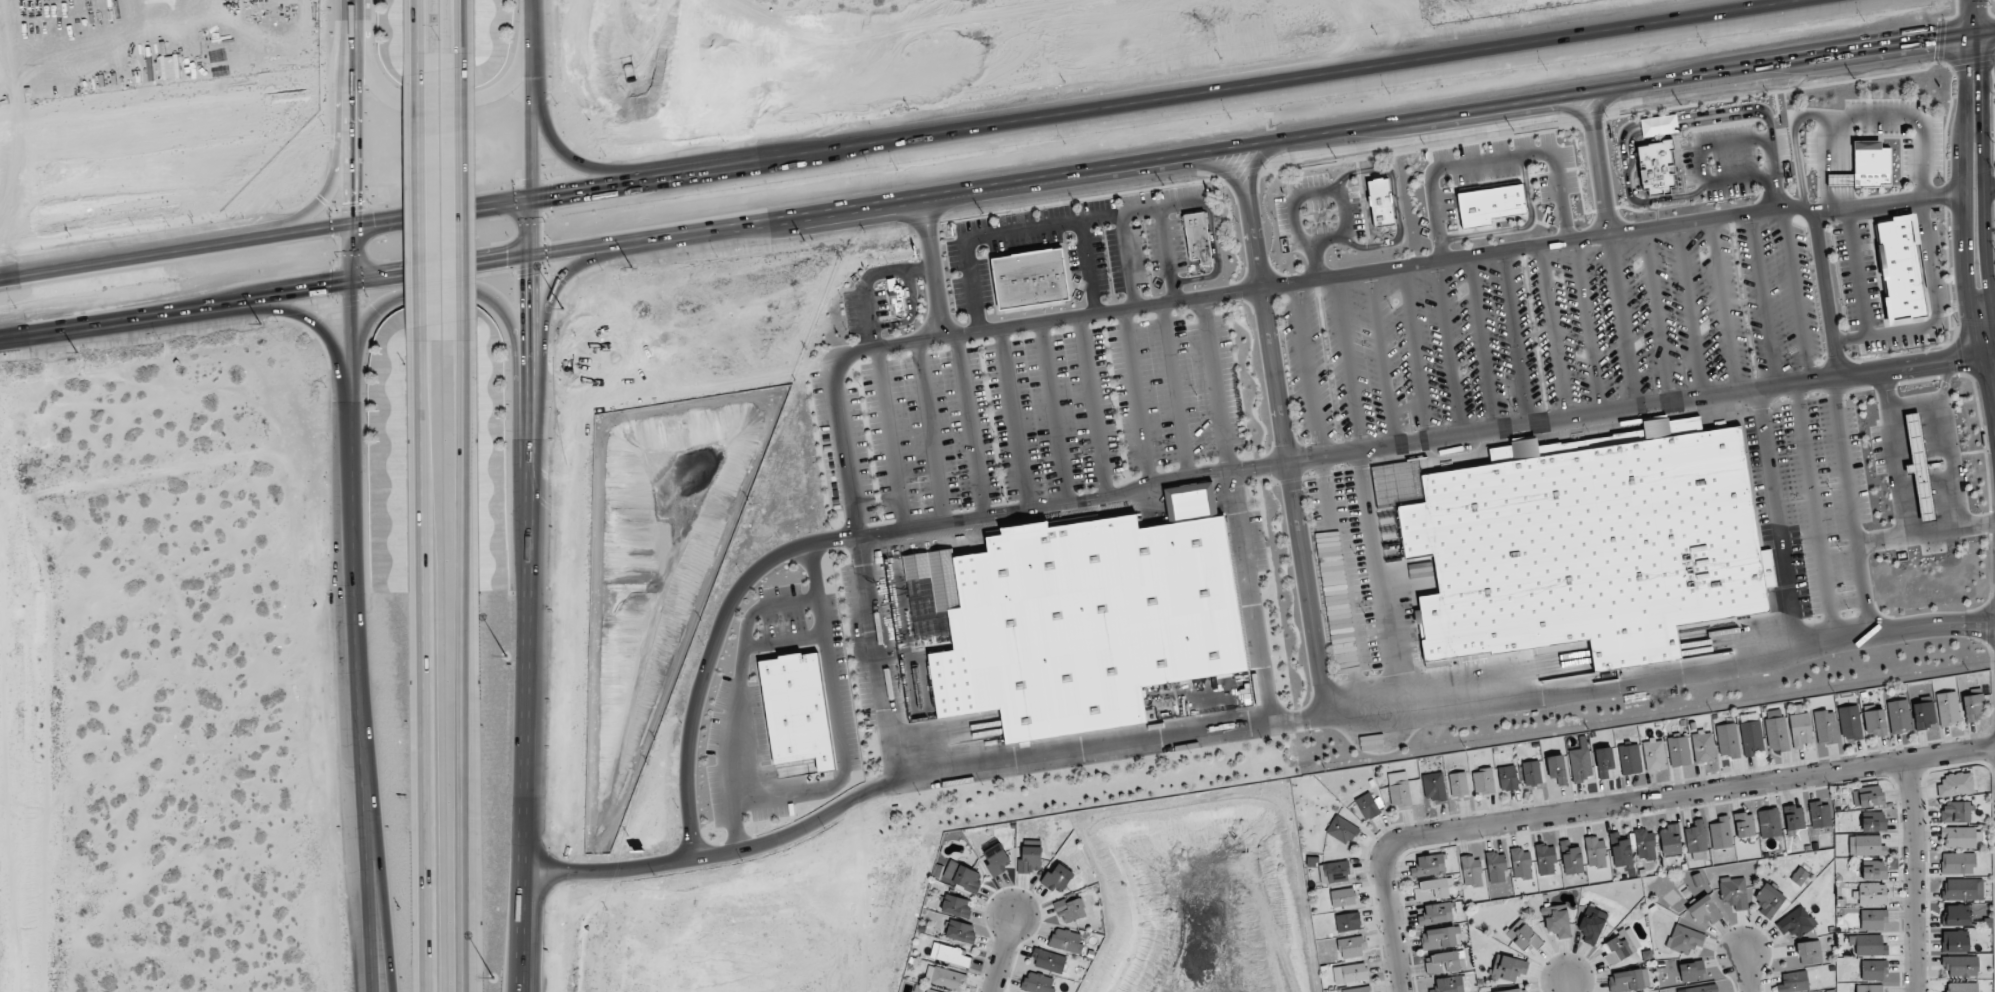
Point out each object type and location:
road: (1974, 16)
road: (417, 28)
road: (460, 28)
road: (1985, 31)
traffic signals: (1929, 41)
traffic signals: (1974, 73)
road: (1284, 81)
road: (536, 99)
road: (451, 108)
road: (349, 113)
road: (1852, 117)
road: (1370, 130)
road: (1834, 142)
road: (1491, 160)
road: (579, 161)
road: (1599, 165)
building: (1861, 168)
building: (1656, 169)
road: (707, 171)
road: (1835, 189)
road: (332, 190)
road: (1984, 193)
traffic signals: (553, 196)
traffic signals: (353, 199)
road: (462, 200)
road: (418, 201)
road: (1395, 201)
building: (1378, 203)
building: (1491, 204)
road: (398, 219)
road: (1973, 220)
traffic signals: (378, 223)
road: (1036, 229)
building: (1194, 238)
road: (1301, 239)
road: (69, 249)
road: (1215, 254)
road: (1169, 255)
road: (1318, 261)
road: (1128, 262)
road: (508, 263)
traffic signals: (500, 265)
road: (1089, 268)
road: (1402, 268)
building: (1899, 269)
road: (932, 270)
road: (1859, 273)
traffic signals: (531, 279)
building: (1026, 279)
traffic signals: (324, 292)
road: (1826, 294)
road: (1795, 295)
road: (1763, 300)
road: (547, 304)
road: (1723, 307)
road: (442, 309)
road: (1691, 312)
road: (1935, 313)
road: (1656, 318)
road: (126, 320)
road: (312, 321)
road: (1622, 323)
road: (1590, 328)
road: (1552, 334)
road: (1513, 340)
road: (1482, 345)
road: (1447, 351)
road: (1416, 356)
road: (1384, 361)
road: (1350, 365)
road: (1215, 387)
road: (1175, 394)
road: (1136, 400)
road: (1915, 404)
road: (1091, 407)
road: (1054, 413)
road: (1014, 419)
road: (969, 426)
road: (929, 433)
road: (1284, 433)
road: (889, 439)
road: (1948, 443)
road: (1422, 445)
road: (846, 450)
road: (351, 452)
road: (1895, 453)
road: (1328, 500)
road: (1853, 505)
road: (1815, 512)
road: (1778, 520)
road: (1927, 533)
building: (1586, 544)
road: (1379, 586)
building: (1770, 591)
road: (533, 593)
road: (1248, 600)
building: (1085, 620)
road: (783, 642)
road: (708, 654)
road: (466, 668)
road: (422, 669)
road: (741, 672)
building: (1973, 707)
building: (1948, 708)
road: (1449, 709)
building: (797, 713)
building: (1923, 715)
building: (1899, 716)
building: (1850, 722)
building: (1875, 723)
building: (1800, 727)
building: (1825, 727)
building: (1777, 735)
building: (1751, 737)
building: (1728, 740)
road: (839, 743)
building: (1703, 746)
building: (1678, 751)
building: (1654, 755)
building: (1629, 759)
building: (1605, 763)
building: (1580, 764)
building: (1556, 769)
building: (1531, 773)
building: (1508, 778)
building: (1483, 781)
building: (1458, 784)
building: (1955, 784)
building: (1434, 787)
building: (1399, 789)
building: (1870, 796)
road: (1619, 803)
building: (1367, 806)
road: (835, 808)
building: (1955, 812)
building: (1819, 814)
building: (1794, 817)
building: (1874, 822)
building: (1769, 823)
building: (1744, 824)
building: (1342, 830)
building: (1721, 832)
road: (361, 835)
road: (375, 835)
building: (1696, 837)
building: (1958, 837)
building: (1669, 839)
building: (1645, 844)
building: (1866, 845)
building: (1620, 850)
building: (1595, 852)
building: (997, 859)
building: (1029, 859)
building: (1546, 859)
building: (1572, 860)
building: (1521, 863)
building: (1957, 863)
building: (1429, 864)
building: (1496, 868)
building: (1873, 870)
building: (1471, 871)
building: (1334, 872)
road: (1914, 875)
building: (963, 876)
building: (1799, 876)
building: (1057, 879)
building: (1432, 889)
building: (1962, 889)
building: (1734, 892)
building: (1872, 894)
building: (1343, 897)
building: (1768, 900)
building: (956, 906)
building: (1069, 910)
building: (1704, 910)
building: (1435, 913)
building: (1956, 915)
building: (1873, 919)
building: (1557, 920)
building: (1348, 922)
building: (1795, 922)
building: (1592, 924)
building: (960, 931)
building: (1439, 937)
building: (1524, 938)
building: (1684, 939)
building: (1066, 940)
building: (1955, 941)
building: (1868, 945)
building: (1620, 946)
building: (1351, 947)
building: (1809, 952)
road: (1001, 954)
building: (951, 955)
building: (1048, 961)
building: (1445, 961)
building: (1961, 966)
building: (1508, 968)
building: (1873, 970)
building: (1691, 971)
building: (1350, 973)
road: (1744, 973)
building: (945, 978)
building: (1629, 980)
building: (1794, 982)
building: (1037, 983)
building: (1448, 984)
road: (1566, 985)
building: (1962, 987)
building: (1703, 988)
building: (1869, 988)
building: (1357, 989)
road: (519, 990)
road: (520, 990)
building: (1515, 990)
building: (929, 991)

